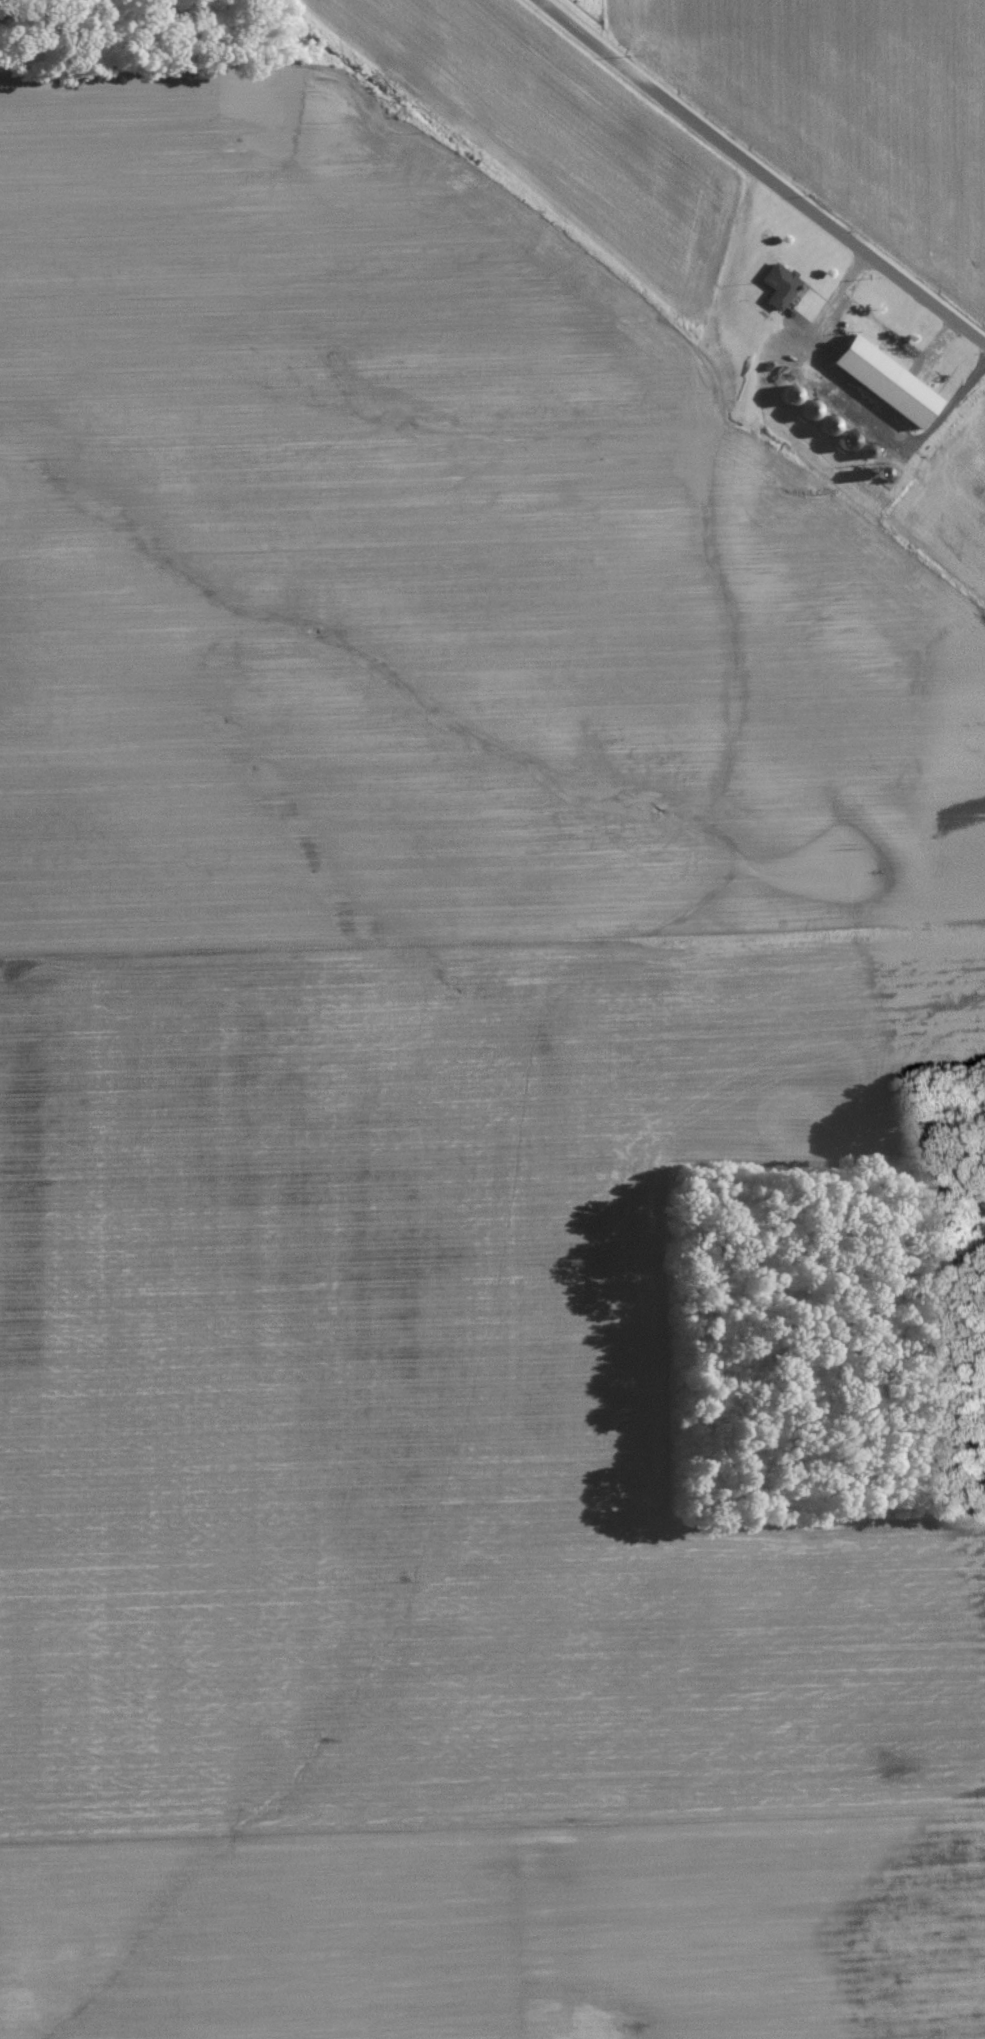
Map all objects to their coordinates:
road: (763, 176)
building: (773, 285)
building: (875, 380)

